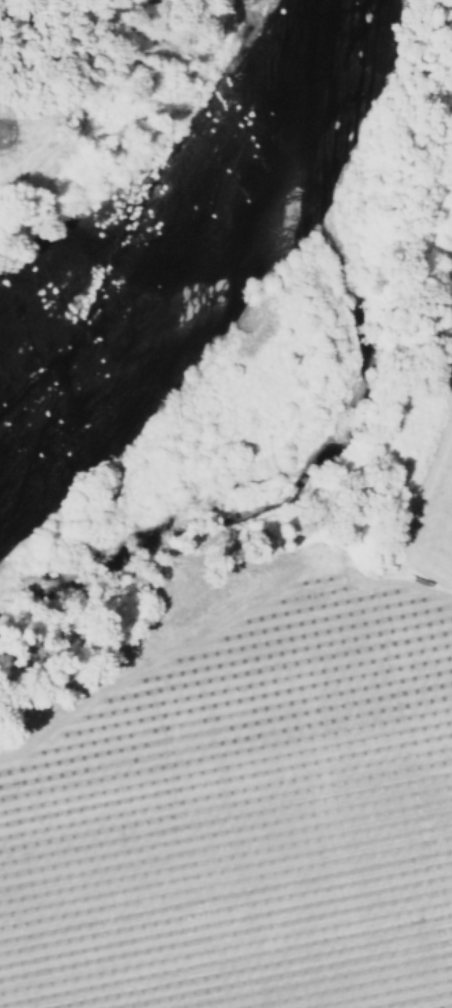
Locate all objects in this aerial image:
river: (206, 247)

